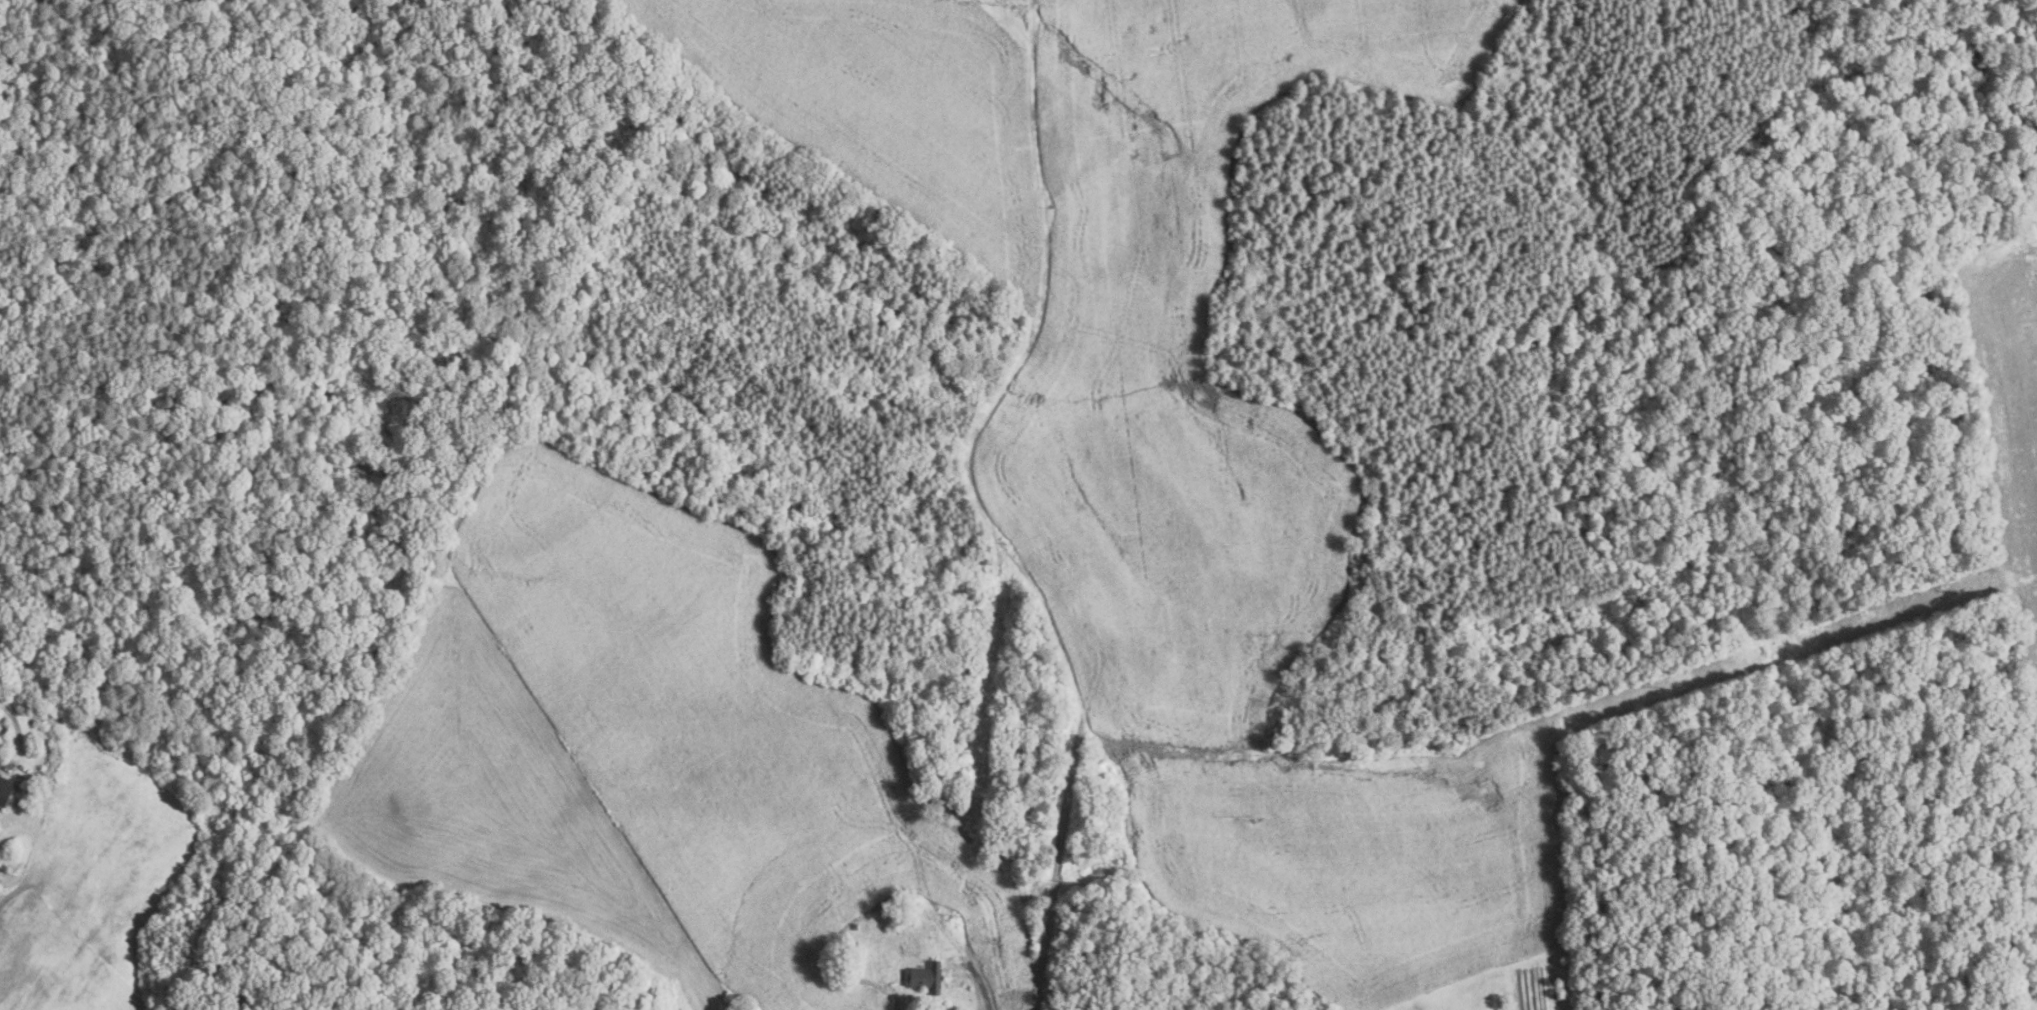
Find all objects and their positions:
crop: (2007, 402)
crop: (1166, 437)
road: (980, 507)
road: (19, 738)
building: (6, 790)
building: (11, 863)
building: (855, 926)
building: (927, 977)
road: (977, 977)
crop: (2035, 1002)

